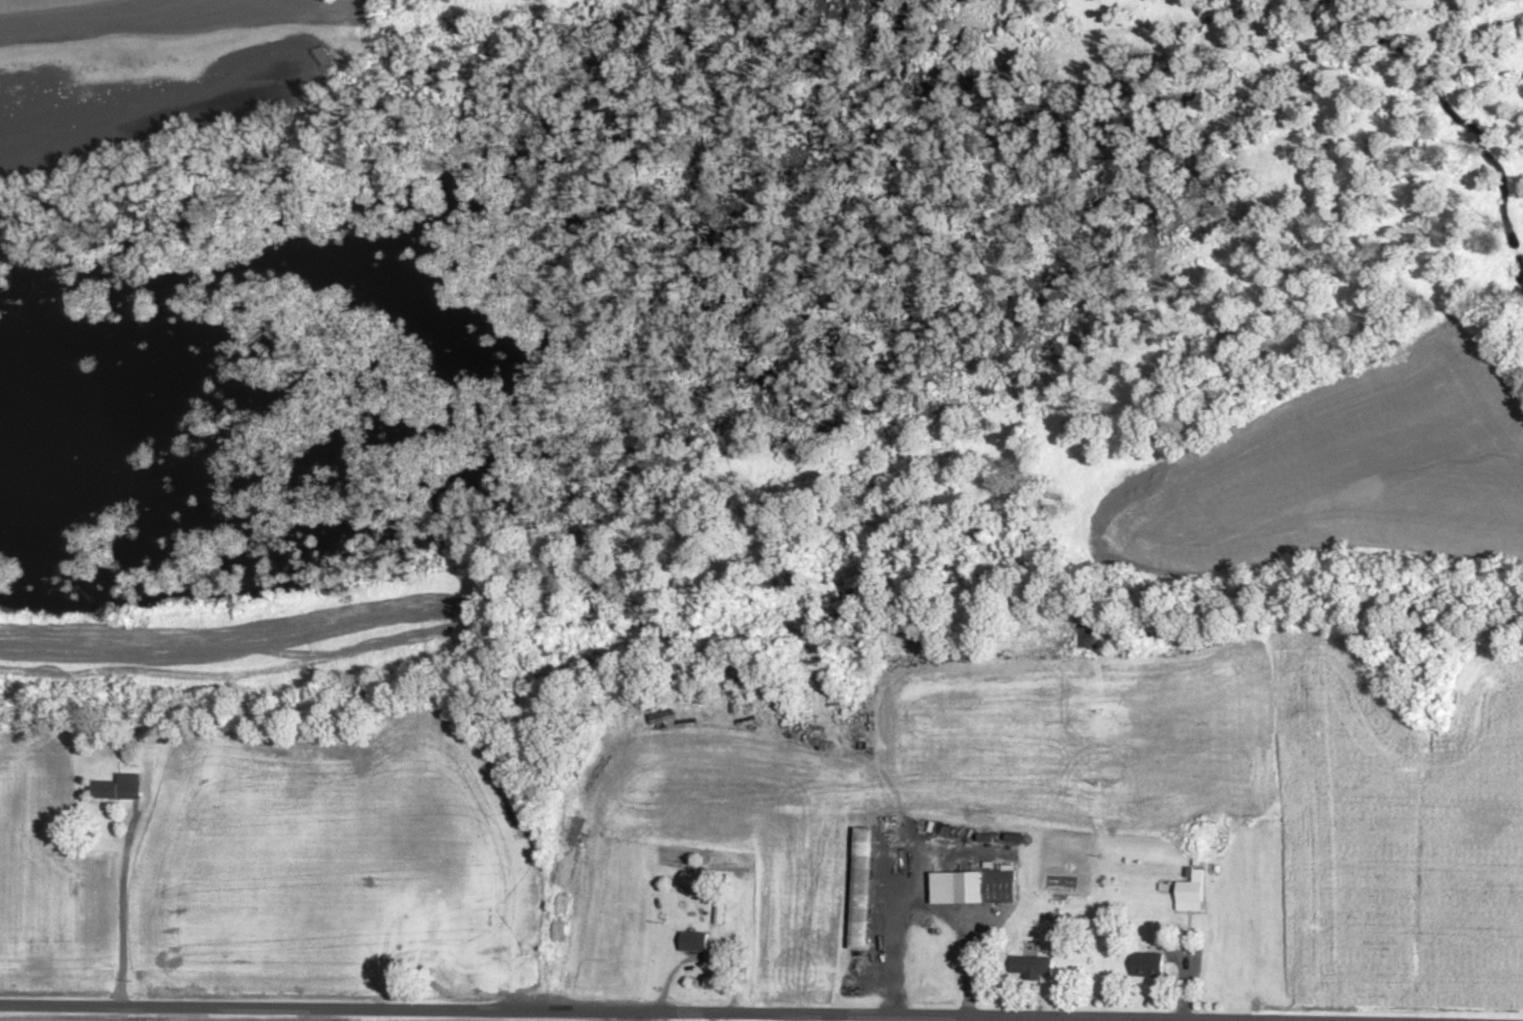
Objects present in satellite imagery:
building: (1091, 636)
building: (122, 788)
building: (976, 887)
building: (865, 889)
building: (1194, 893)
building: (697, 942)
building: (1153, 965)
building: (1036, 967)
road: (1436, 1020)

